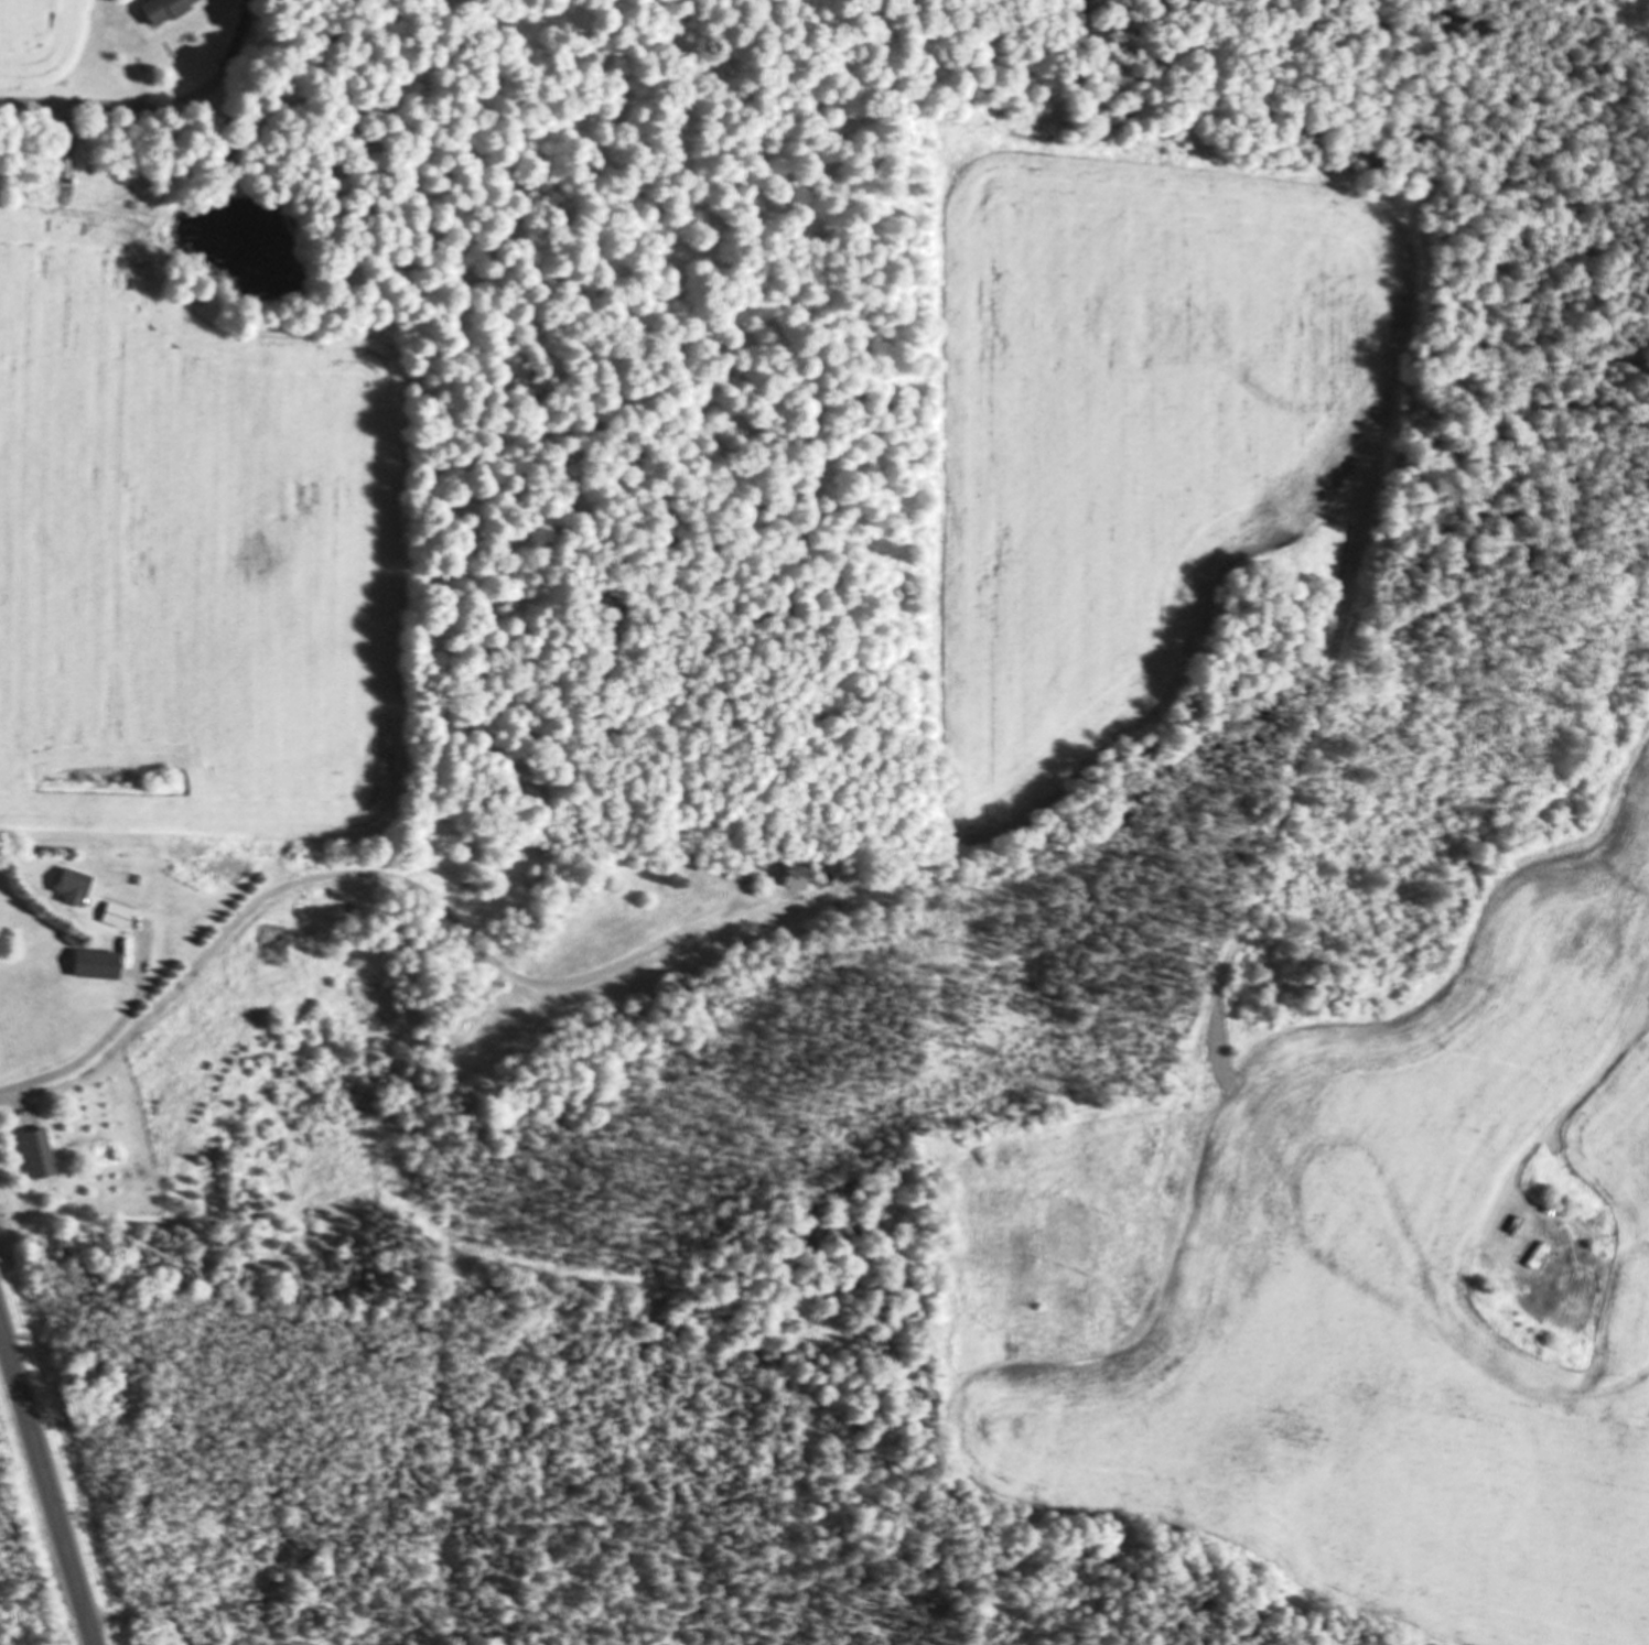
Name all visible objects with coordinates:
building: (168, 10)
building: (797, 879)
building: (819, 880)
building: (78, 890)
building: (118, 918)
building: (98, 968)
building: (41, 1154)
road: (46, 1483)

